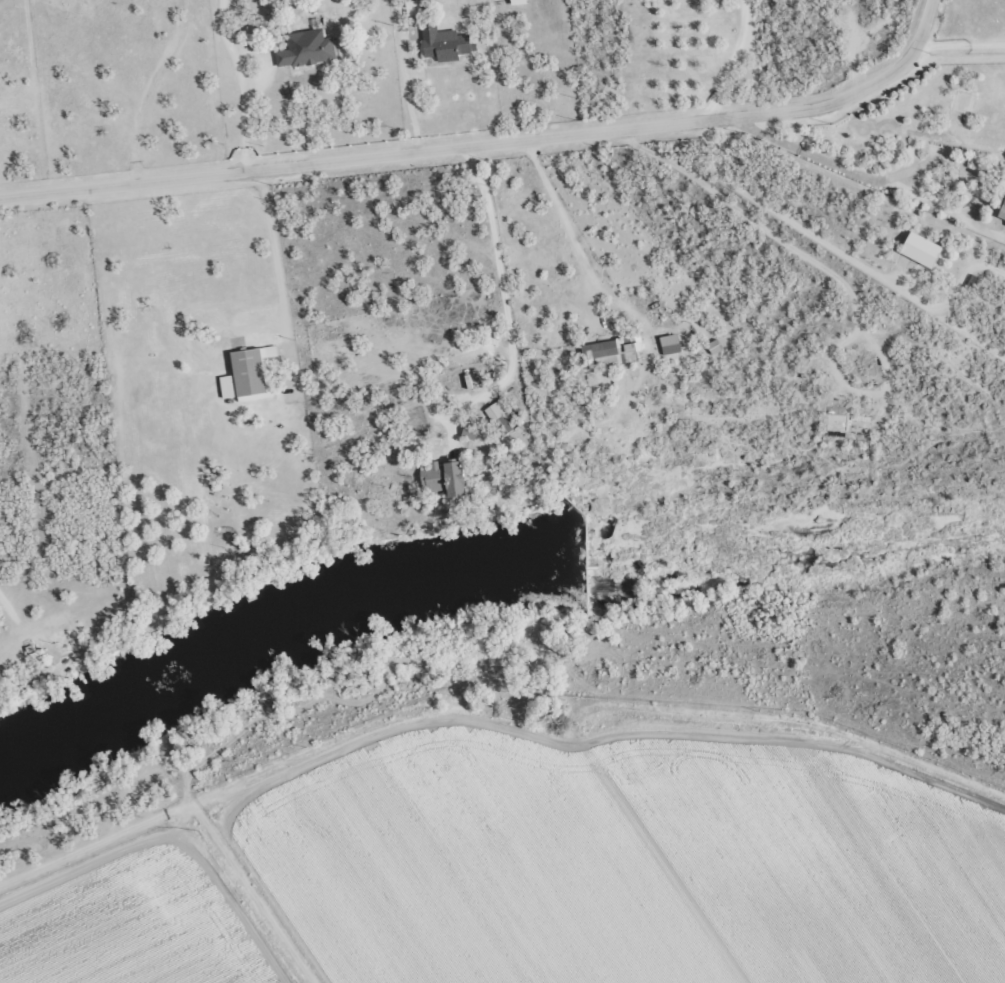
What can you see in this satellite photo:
building: (518, 2)
building: (445, 44)
building: (305, 49)
road: (501, 121)
building: (1002, 211)
building: (917, 252)
building: (669, 344)
building: (714, 346)
building: (608, 353)
building: (248, 375)
building: (498, 417)
building: (469, 432)
building: (444, 479)
road: (489, 707)

